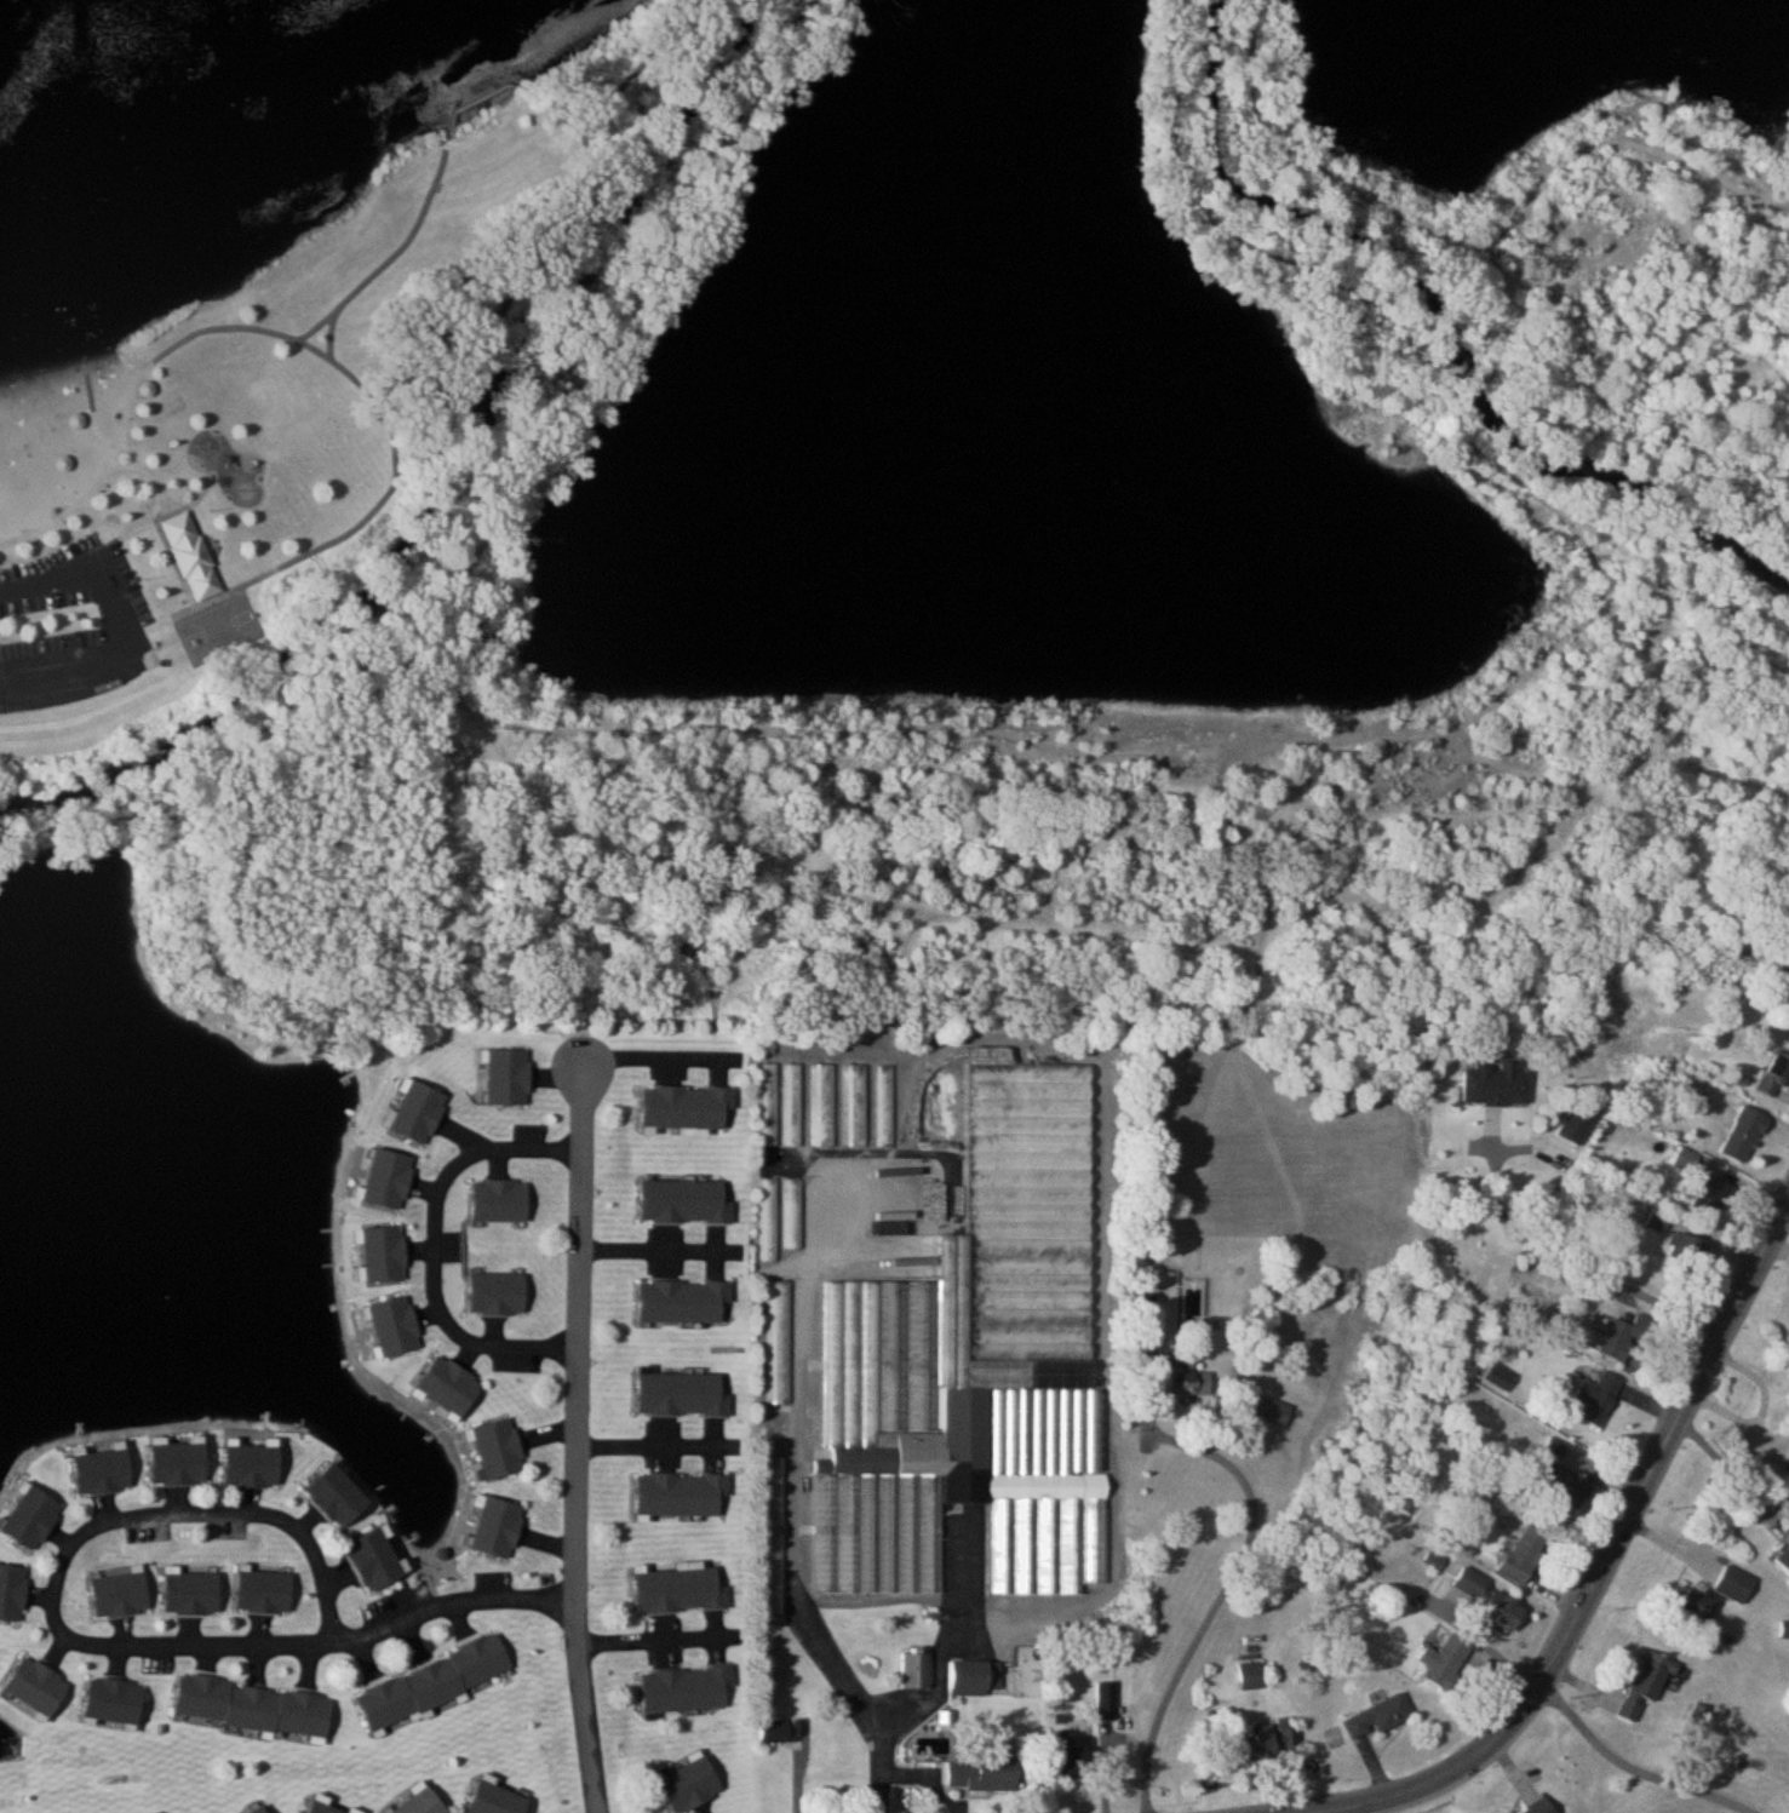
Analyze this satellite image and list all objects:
road: (621, 82)
road: (482, 99)
road: (1592, 144)
road: (1462, 237)
road: (394, 253)
road: (510, 293)
park: (269, 312)
river: (1446, 323)
road: (590, 334)
road: (332, 338)
road: (128, 400)
road: (1460, 437)
road: (187, 444)
road: (168, 471)
road: (320, 547)
building: (190, 558)
road: (176, 564)
road: (176, 615)
parking lot: (71, 627)
road: (126, 627)
park: (218, 630)
road: (1171, 756)
road: (584, 838)
road: (455, 878)
road: (1203, 941)
building: (1782, 979)
road: (658, 1057)
building: (1776, 1075)
building: (508, 1077)
building: (1497, 1084)
building: (769, 1103)
building: (792, 1105)
building: (824, 1106)
building: (855, 1106)
building: (688, 1107)
building: (417, 1112)
building: (1582, 1117)
building: (1743, 1131)
building: (388, 1178)
building: (1711, 1188)
building: (500, 1200)
building: (684, 1201)
building: (1659, 1220)
building: (793, 1224)
building: (769, 1229)
road: (437, 1249)
building: (1687, 1249)
road: (660, 1251)
building: (385, 1253)
road: (1583, 1264)
building: (498, 1293)
building: (686, 1301)
building: (397, 1325)
building: (1153, 1331)
road: (583, 1332)
building: (1628, 1335)
building: (780, 1342)
building: (975, 1370)
building: (1186, 1378)
building: (452, 1384)
road: (1149, 1392)
building: (682, 1394)
building: (1598, 1394)
building: (1274, 1410)
road: (1765, 1410)
building: (500, 1448)
road: (661, 1448)
building: (1788, 1459)
building: (179, 1464)
building: (253, 1465)
building: (103, 1471)
road: (1726, 1473)
building: (774, 1478)
building: (1571, 1486)
building: (683, 1494)
building: (340, 1496)
building: (33, 1517)
road: (796, 1521)
building: (500, 1527)
road: (96, 1528)
building: (1525, 1554)
road: (1606, 1557)
building: (1435, 1559)
building: (1784, 1559)
building: (377, 1560)
building: (1473, 1583)
building: (1736, 1584)
building: (681, 1590)
building: (12, 1593)
building: (265, 1593)
building: (193, 1594)
building: (121, 1595)
road: (1223, 1595)
road: (455, 1603)
building: (1698, 1607)
building: (1503, 1611)
building: (1785, 1630)
road: (947, 1639)
road: (656, 1641)
road: (1485, 1645)
building: (1446, 1660)
building: (914, 1670)
building: (1252, 1676)
building: (974, 1677)
building: (435, 1682)
building: (1645, 1683)
building: (39, 1687)
building: (687, 1688)
building: (1106, 1699)
building: (116, 1702)
road: (586, 1706)
building: (254, 1708)
building: (1381, 1716)
building: (774, 1731)
building: (1271, 1739)
road: (1107, 1755)
building: (1073, 1757)
road: (1634, 1767)
building: (986, 1771)
building: (689, 1785)
building: (495, 1798)
building: (420, 1803)
building: (322, 1806)
building: (1542, 1807)
building: (260, 1809)
building: (354, 1811)

